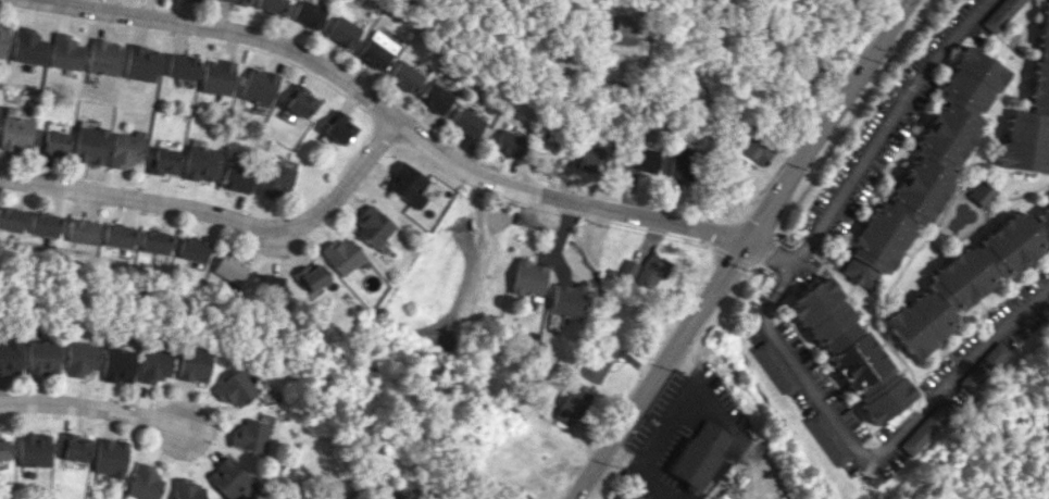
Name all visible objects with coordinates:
building: (236, 1)
building: (272, 5)
building: (308, 13)
building: (999, 14)
road: (895, 20)
building: (342, 30)
building: (619, 30)
building: (4, 39)
building: (30, 47)
building: (376, 49)
building: (67, 51)
building: (105, 57)
building: (143, 63)
building: (183, 66)
building: (404, 76)
building: (218, 77)
building: (260, 86)
building: (435, 97)
building: (300, 101)
road: (577, 109)
road: (895, 112)
building: (1031, 114)
road: (394, 120)
building: (467, 123)
building: (340, 129)
building: (17, 133)
building: (57, 141)
building: (509, 142)
building: (92, 145)
building: (754, 149)
building: (129, 150)
building: (591, 158)
building: (641, 159)
building: (167, 161)
building: (203, 163)
building: (545, 164)
building: (679, 164)
building: (925, 169)
building: (240, 178)
building: (278, 179)
building: (407, 184)
building: (982, 194)
road: (220, 213)
building: (12, 219)
building: (48, 224)
building: (375, 226)
building: (85, 230)
building: (124, 236)
building: (160, 241)
road: (291, 246)
building: (198, 249)
road: (770, 253)
building: (346, 254)
road: (797, 258)
building: (235, 267)
building: (646, 270)
road: (728, 270)
building: (528, 277)
building: (316, 278)
building: (966, 279)
building: (271, 285)
building: (848, 349)
building: (8, 355)
building: (38, 357)
building: (77, 358)
building: (598, 359)
building: (192, 363)
building: (115, 364)
building: (152, 364)
building: (774, 366)
road: (701, 386)
building: (234, 389)
building: (571, 404)
road: (92, 408)
road: (671, 424)
building: (927, 425)
building: (249, 434)
building: (826, 438)
building: (70, 447)
building: (28, 449)
building: (0, 450)
road: (882, 450)
building: (700, 453)
building: (105, 457)
road: (754, 458)
road: (642, 466)
building: (227, 479)
building: (140, 483)
building: (183, 489)
road: (591, 492)
road: (402, 495)

